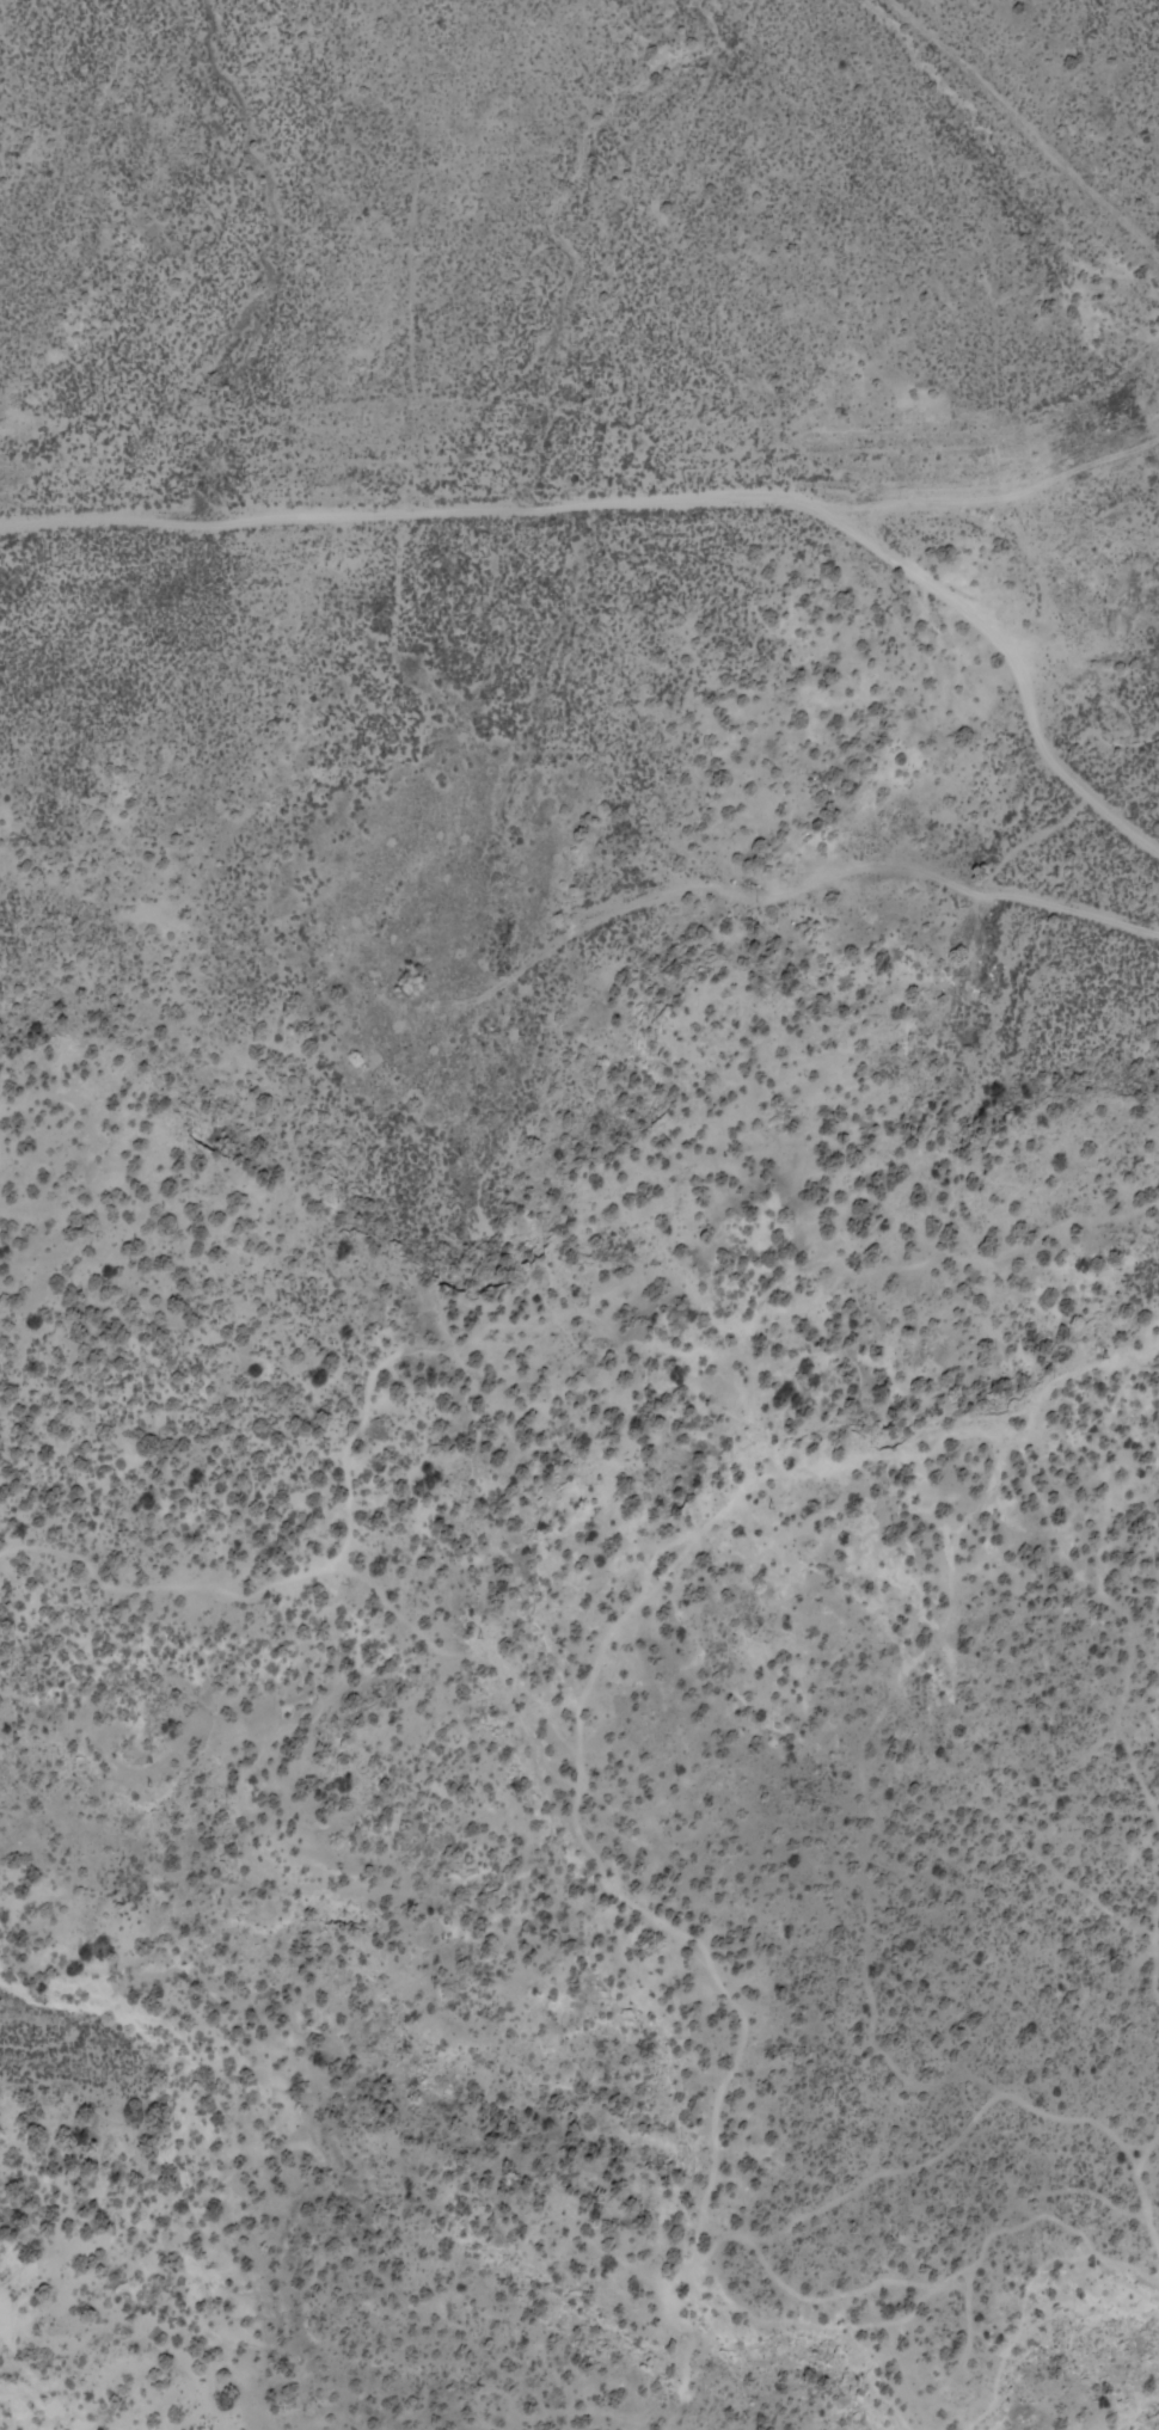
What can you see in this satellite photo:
power tower: (1158, 240)
road: (657, 501)

